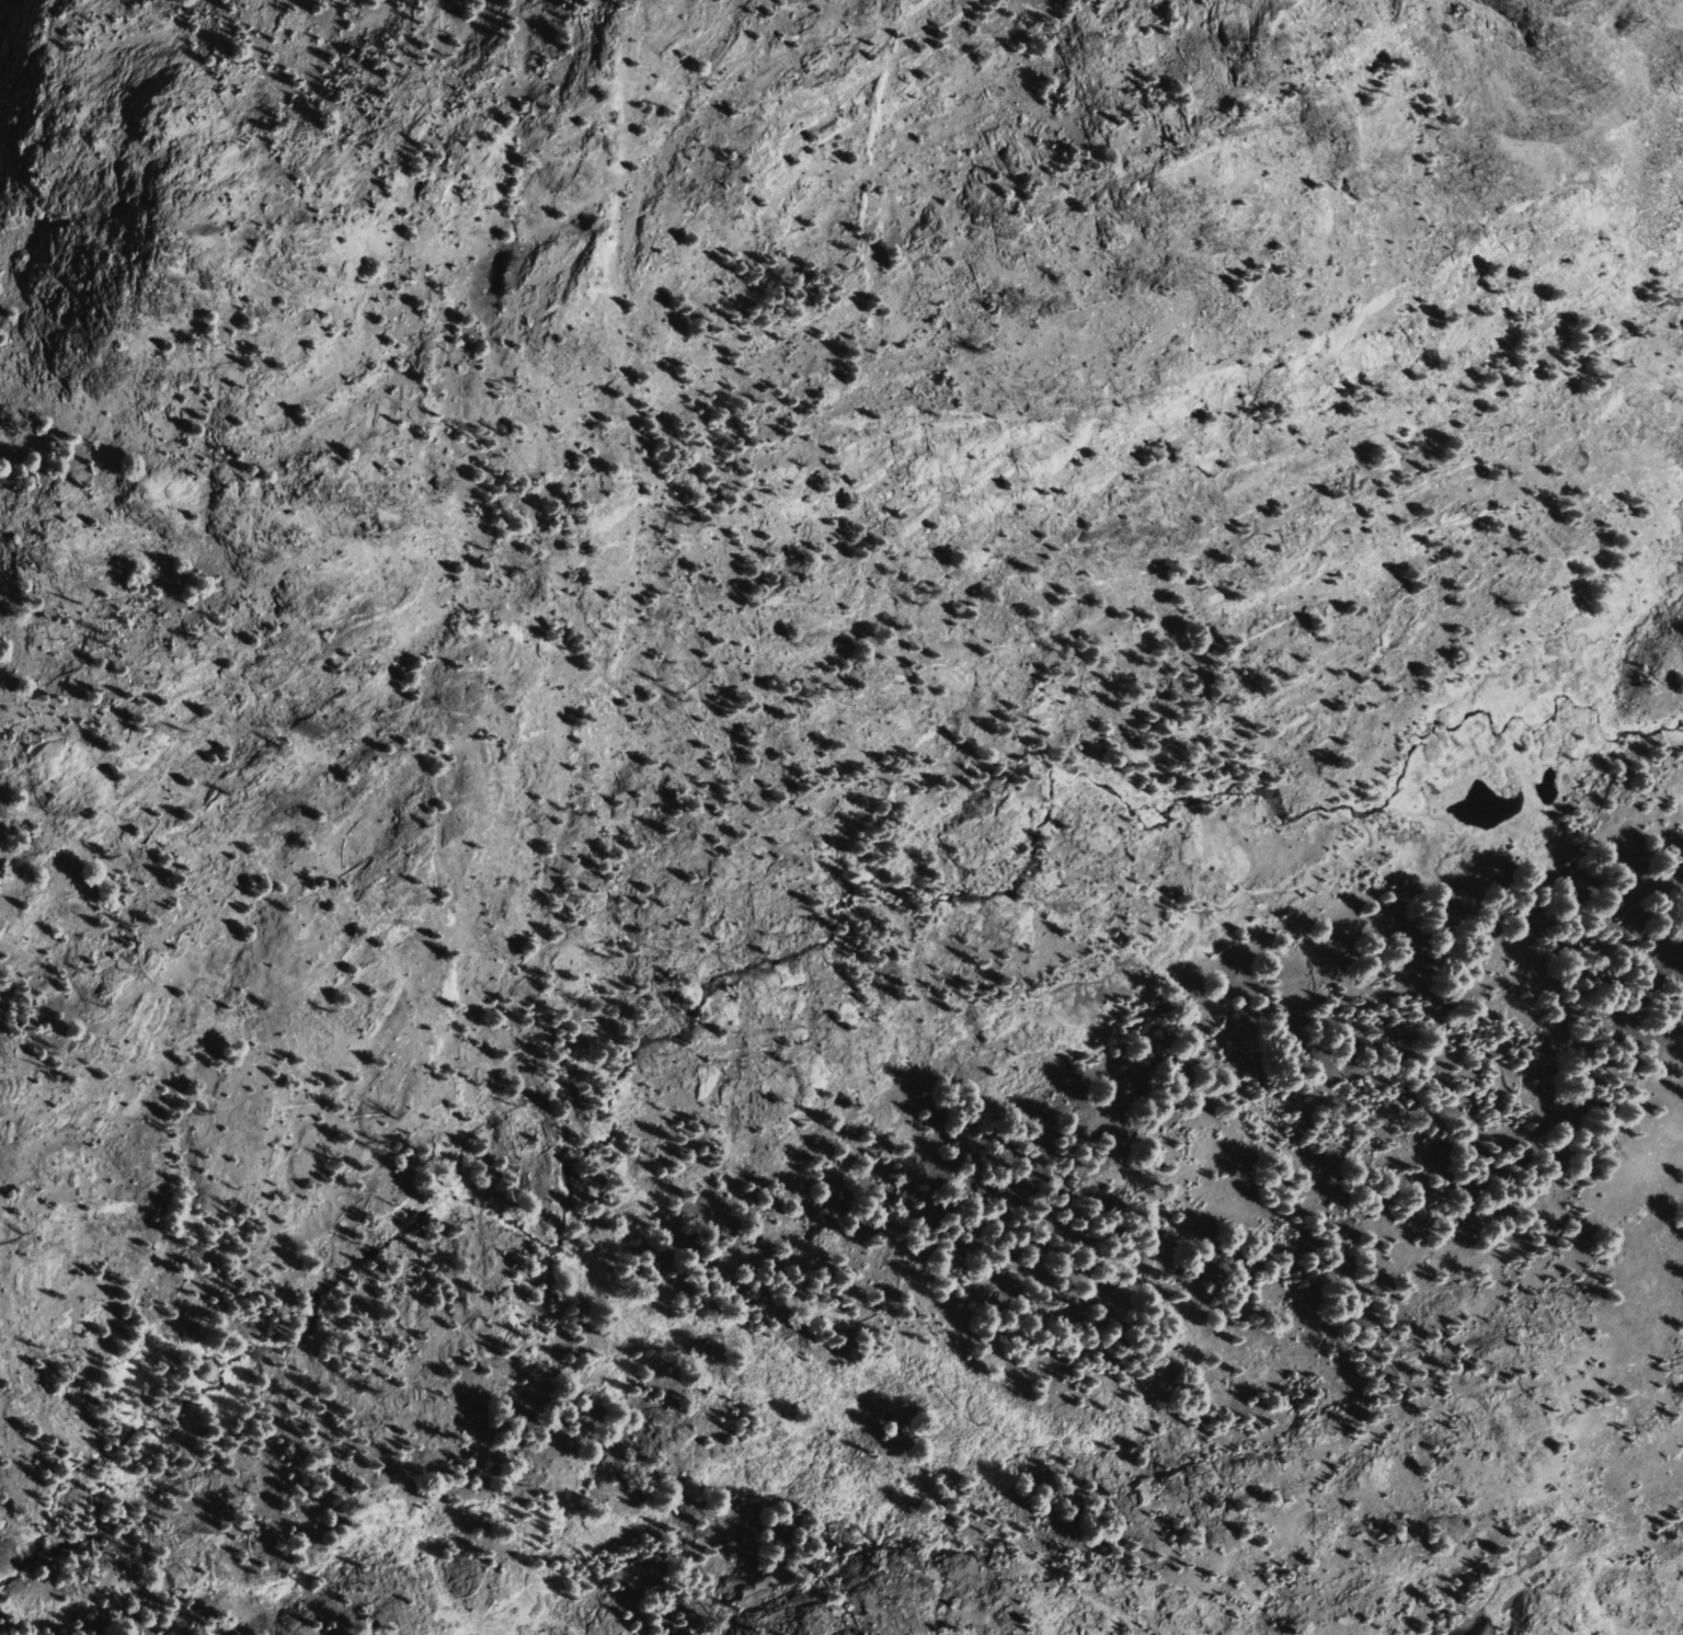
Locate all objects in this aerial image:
road: (160, 1525)

